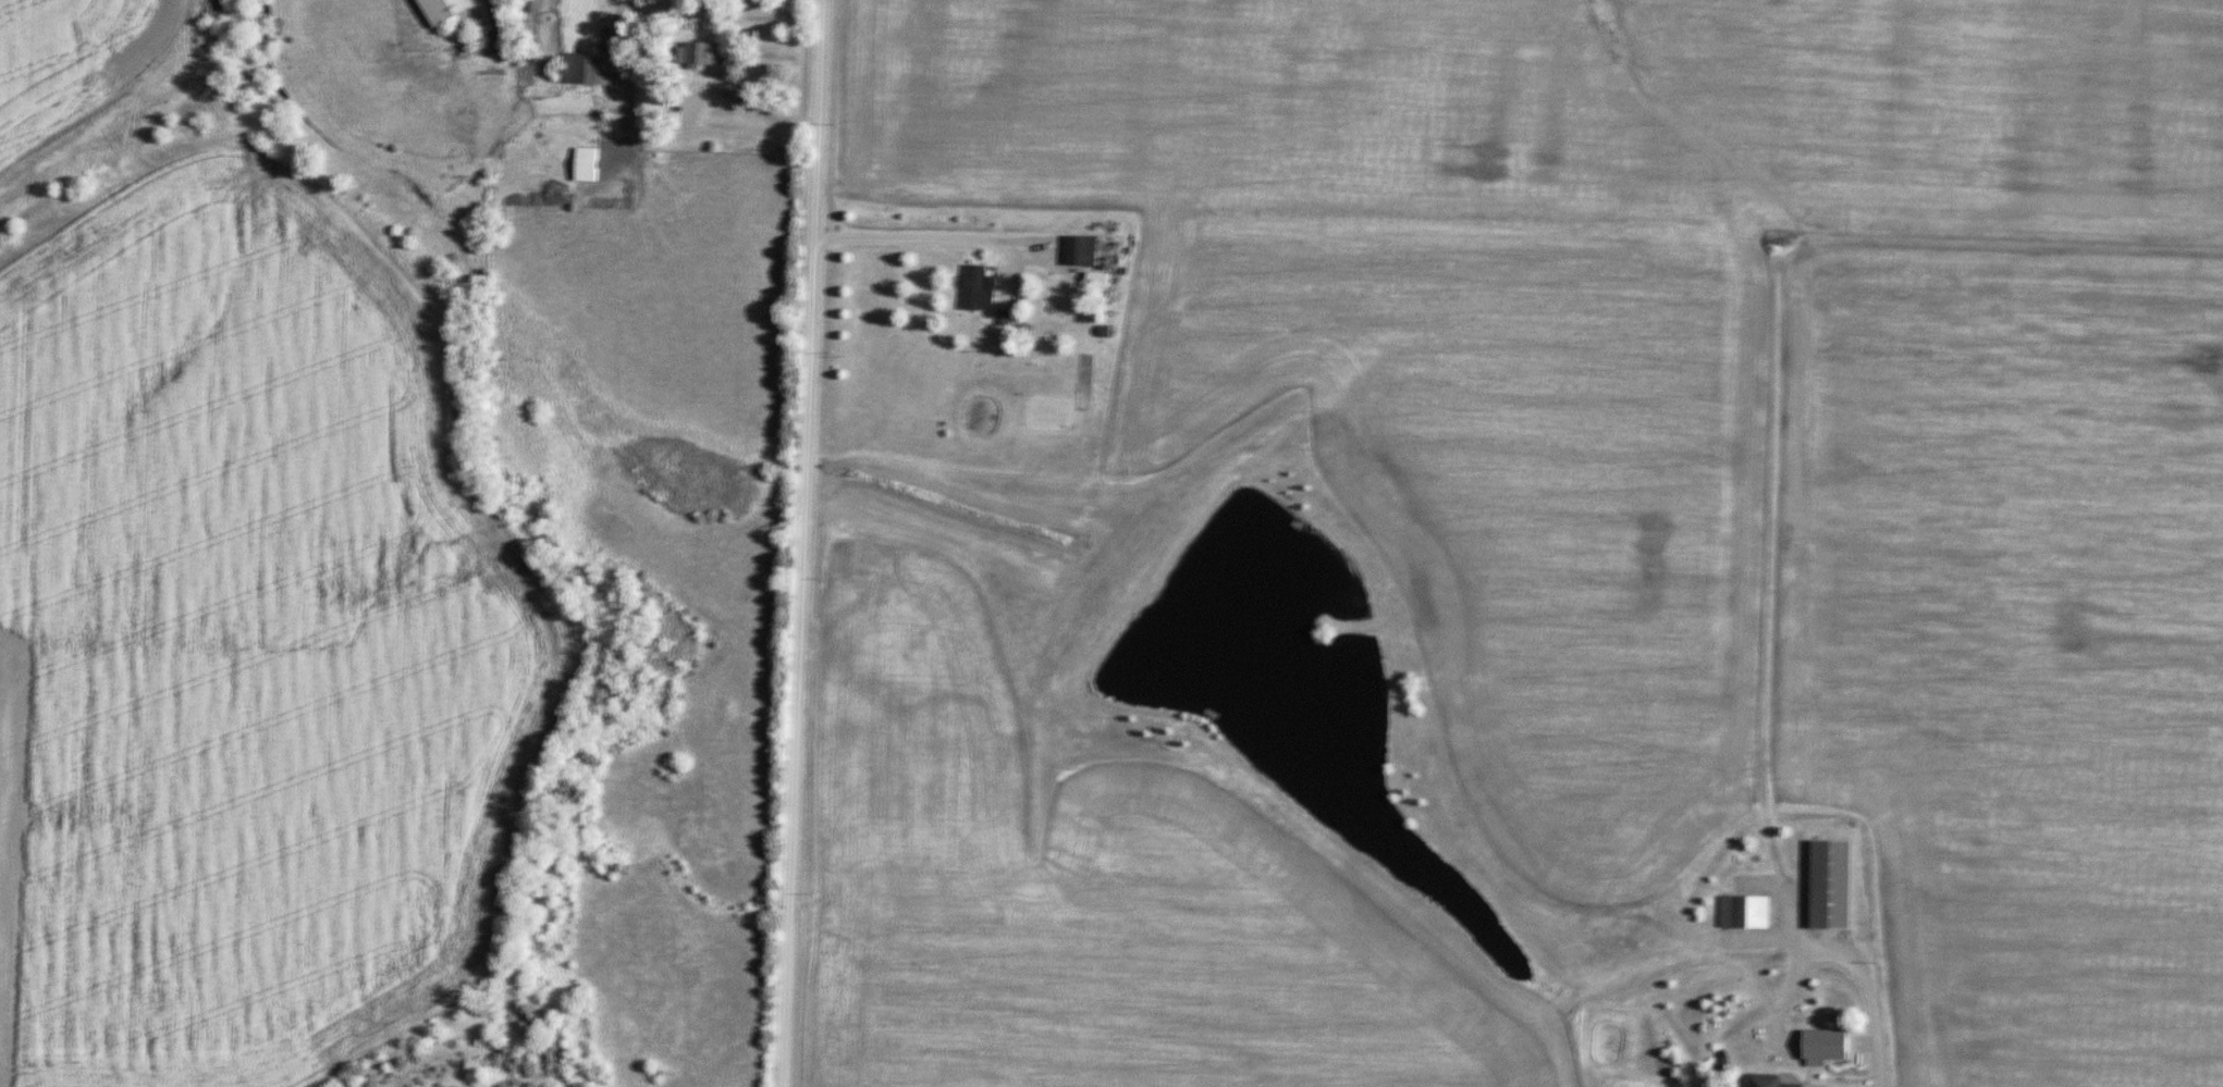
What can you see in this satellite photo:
building: (440, 11)
building: (700, 54)
building: (578, 70)
road: (628, 96)
road: (697, 131)
road: (797, 133)
building: (585, 165)
road: (946, 238)
building: (1080, 251)
building: (979, 288)
building: (1104, 296)
road: (802, 543)
road: (1768, 552)
building: (1830, 885)
building: (1744, 911)
road: (1870, 990)
building: (1825, 1043)
building: (1769, 1080)

